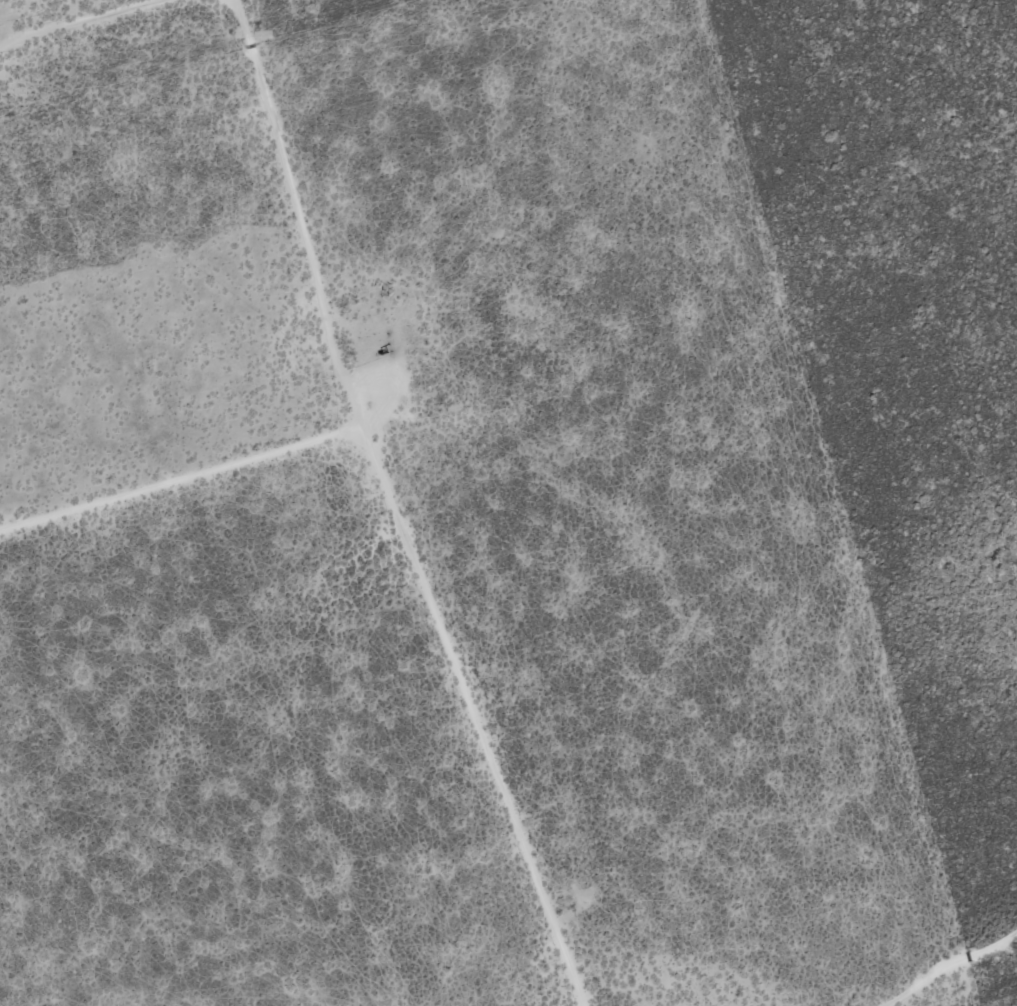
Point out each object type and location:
road: (74, 10)
road: (197, 465)
road: (428, 507)
road: (958, 968)

